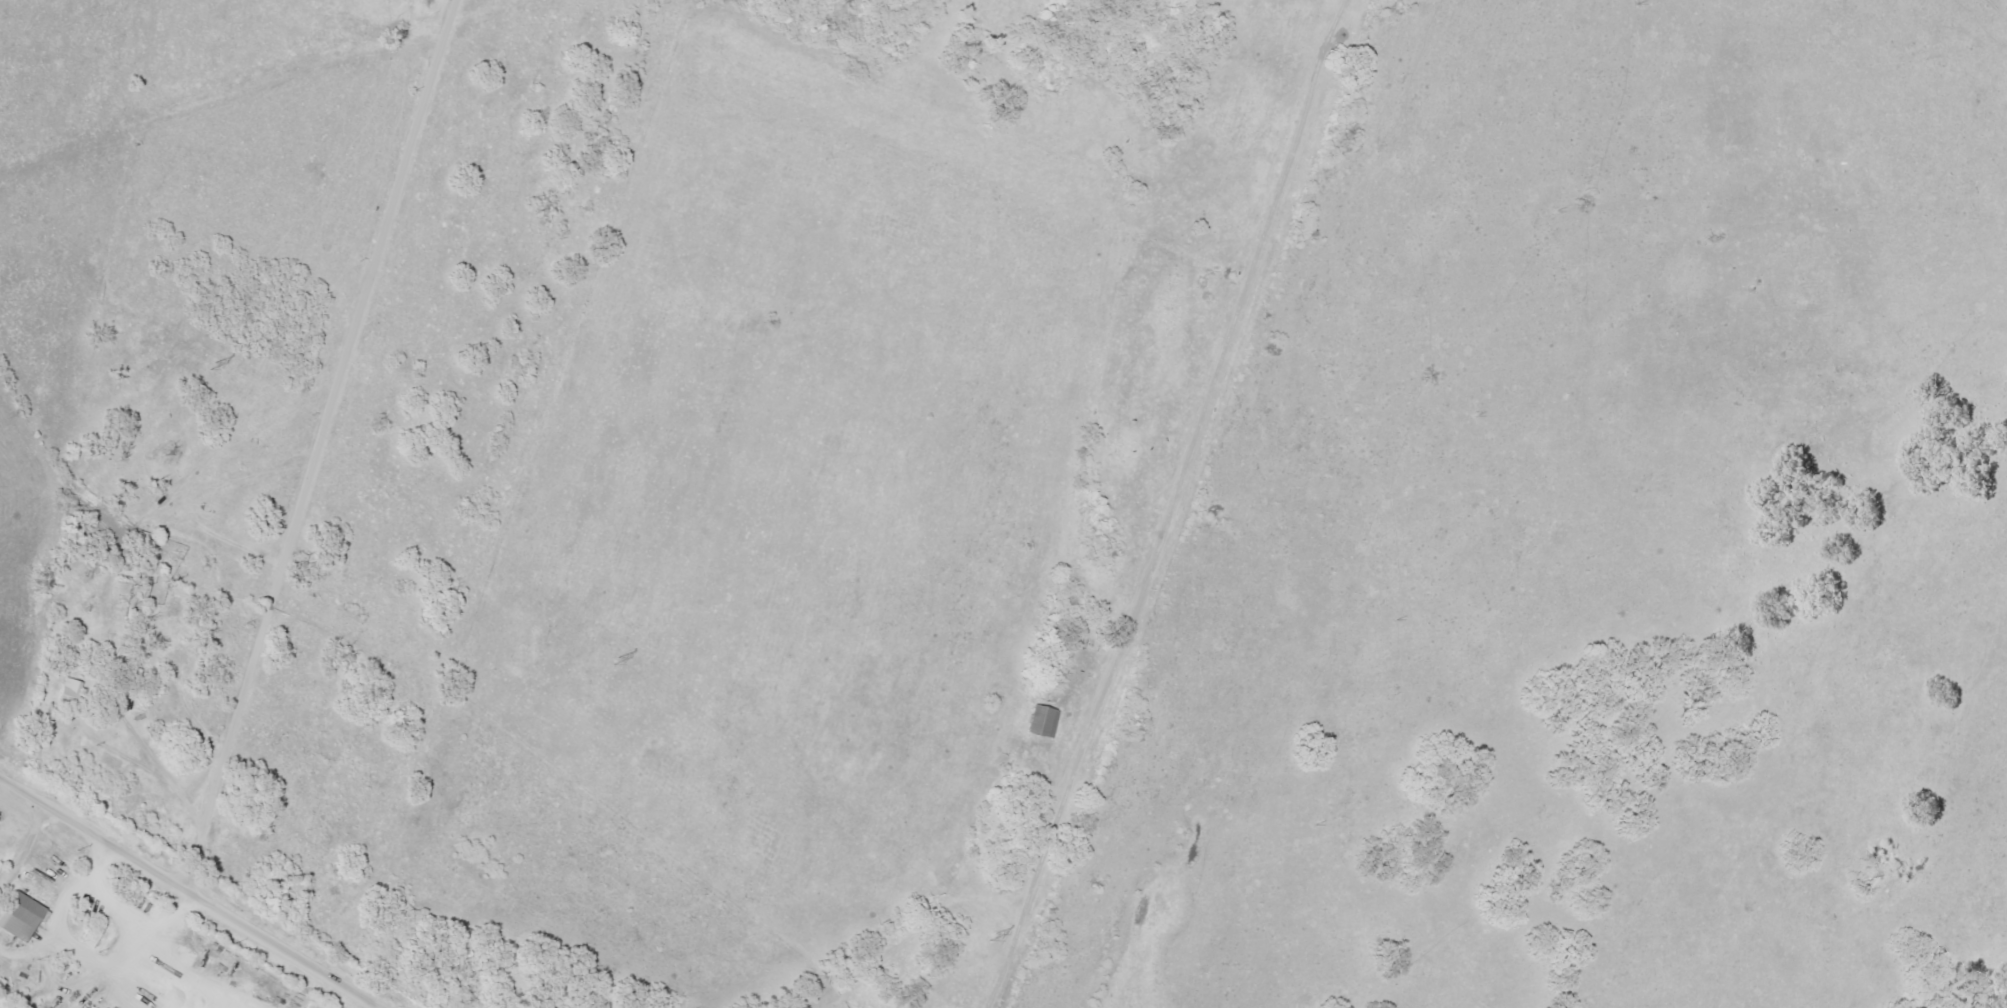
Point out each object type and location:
power tower: (208, 367)
road: (315, 443)
road: (1113, 541)
power tower: (609, 662)
building: (71, 693)
building: (1044, 720)
road: (1052, 777)
road: (194, 893)
building: (21, 916)
power tower: (986, 939)

